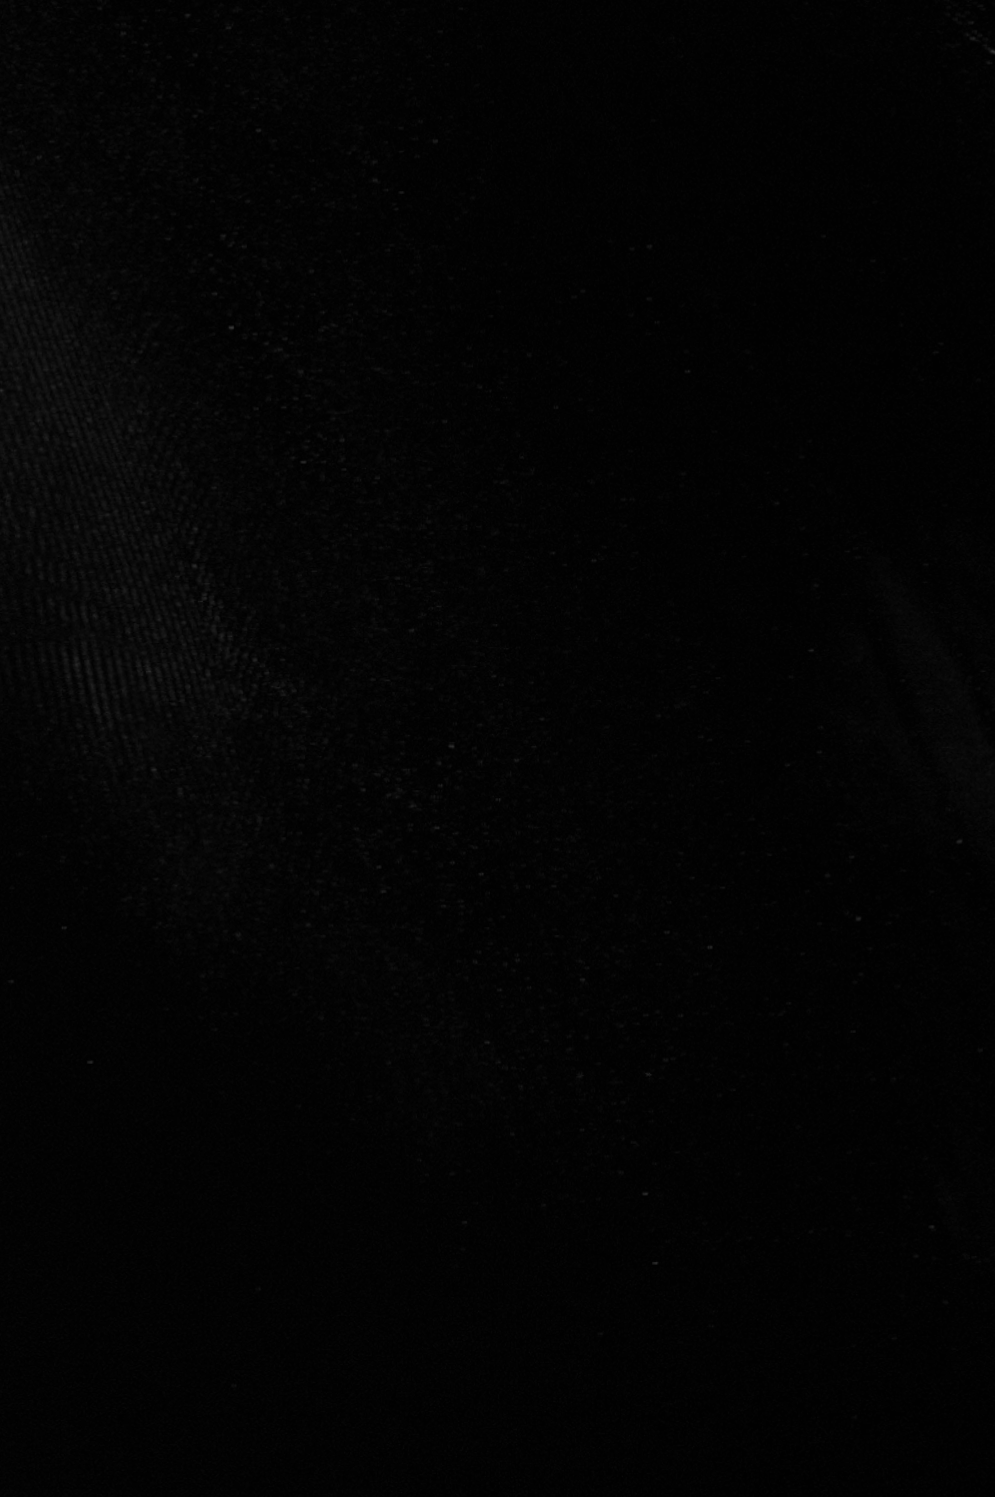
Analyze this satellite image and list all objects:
river: (66, 1334)

